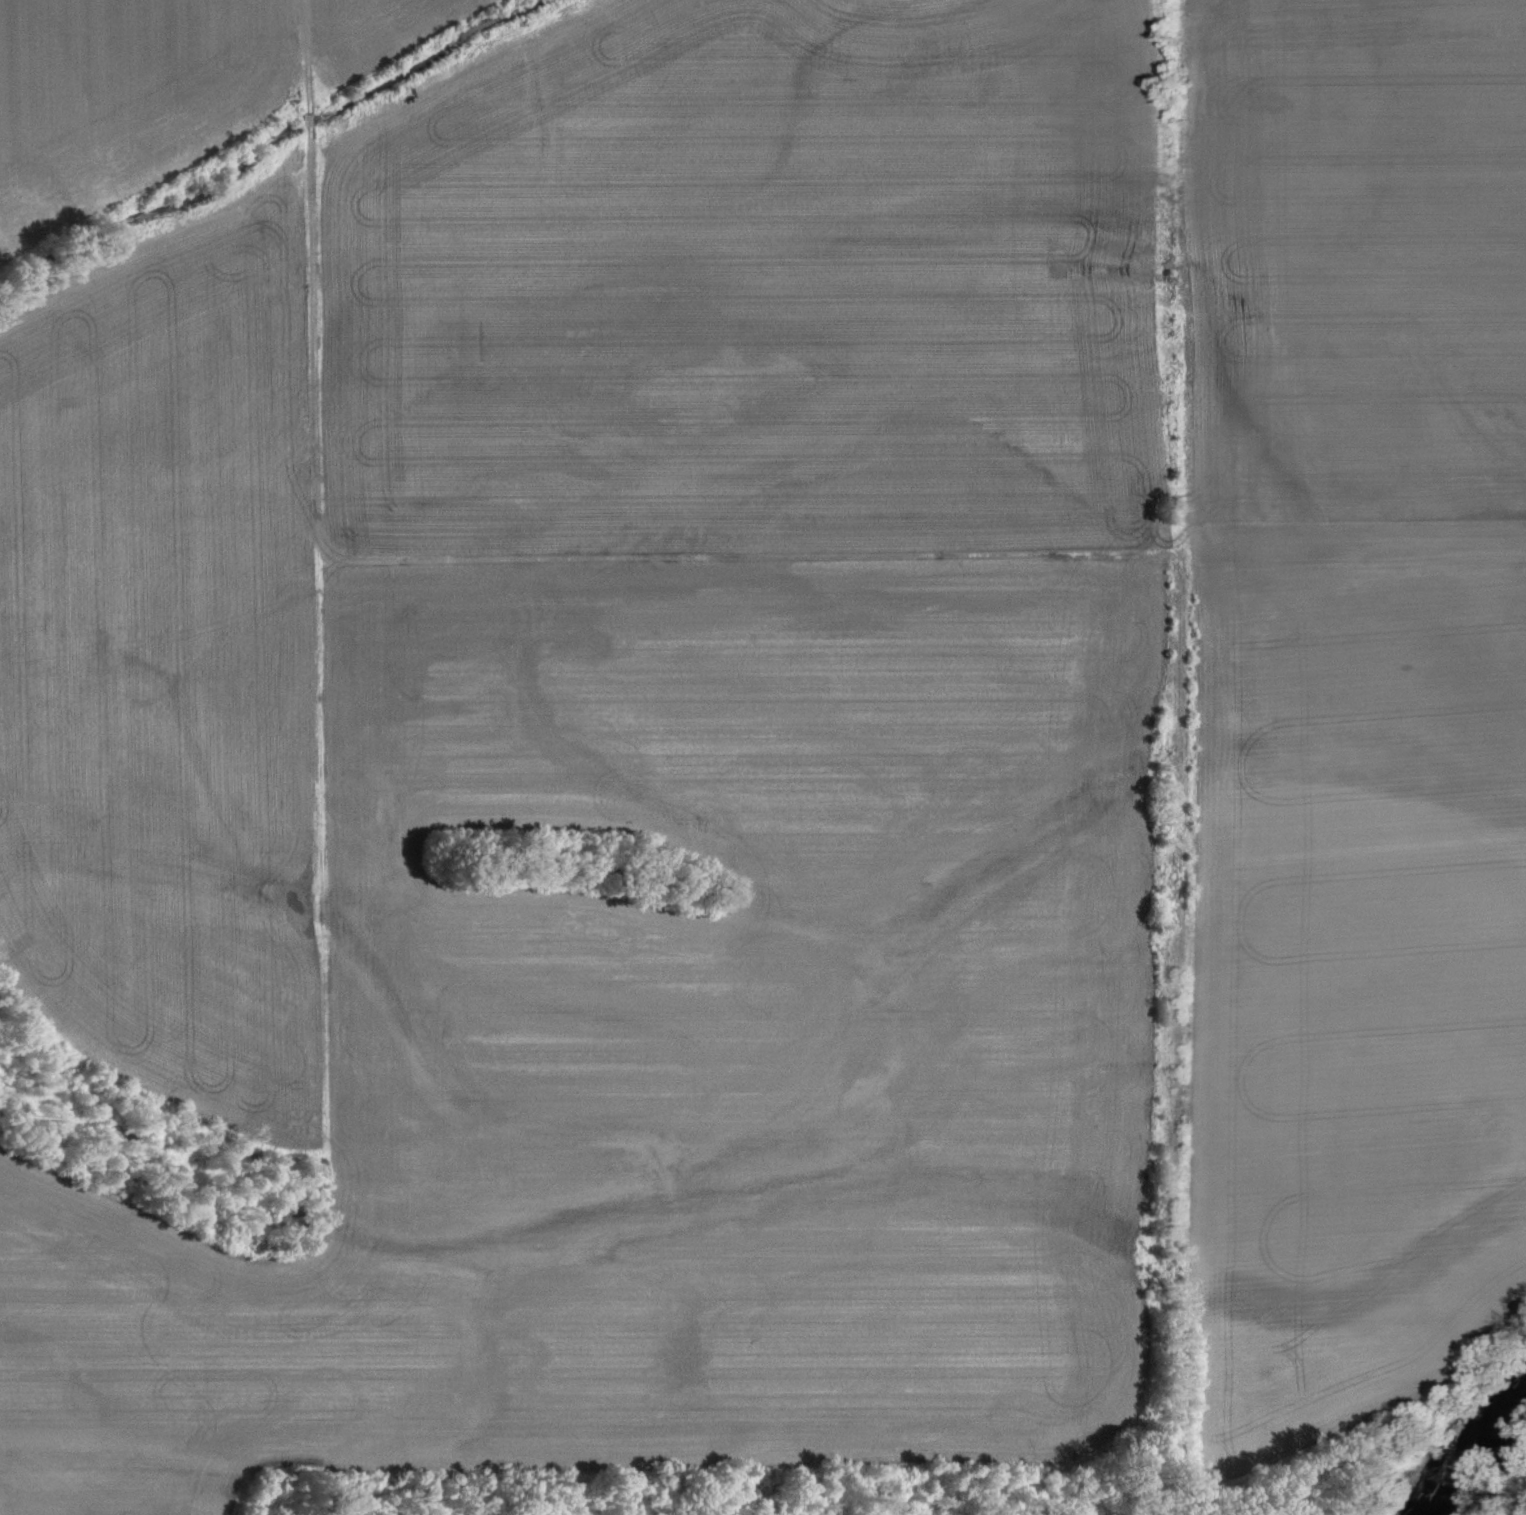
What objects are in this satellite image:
river: (1479, 1452)

